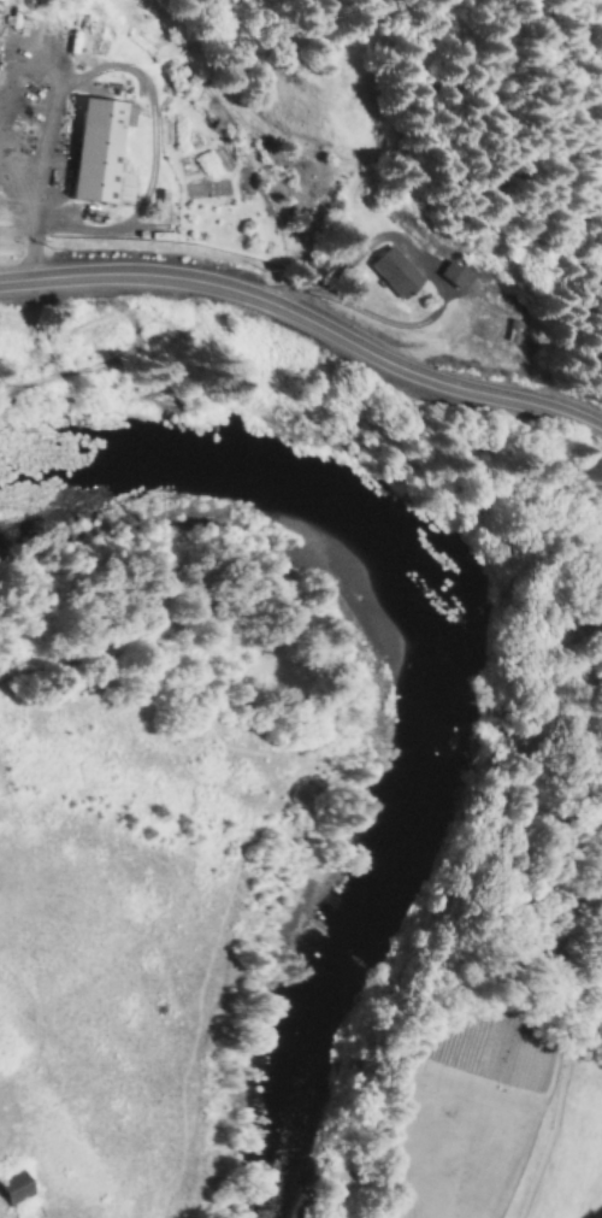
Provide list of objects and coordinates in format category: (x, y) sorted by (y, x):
building: (96, 154)
building: (391, 273)
building: (451, 277)
road: (307, 324)
river: (444, 681)
building: (13, 1195)

